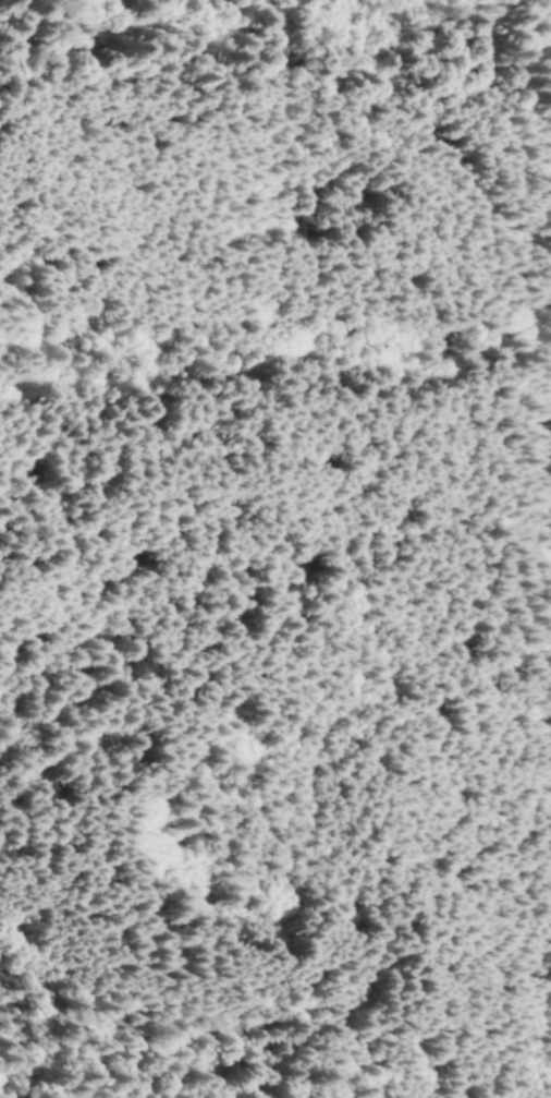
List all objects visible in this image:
road: (541, 350)
road: (538, 394)

